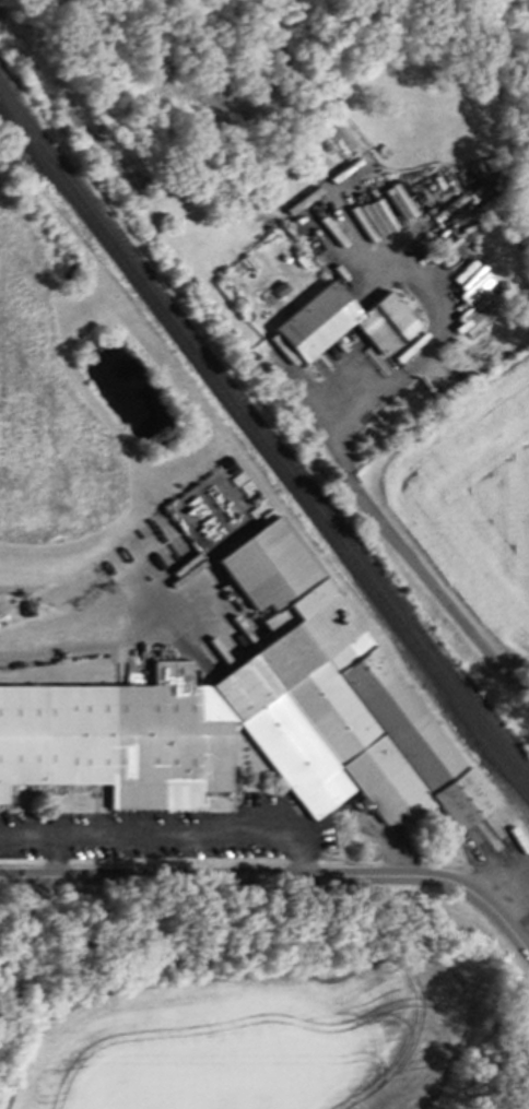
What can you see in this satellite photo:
building: (278, 291)
building: (343, 318)
railway: (264, 443)
crop: (463, 521)
road: (68, 635)
building: (249, 710)
road: (169, 835)
road: (60, 857)
road: (232, 877)
road: (498, 917)

